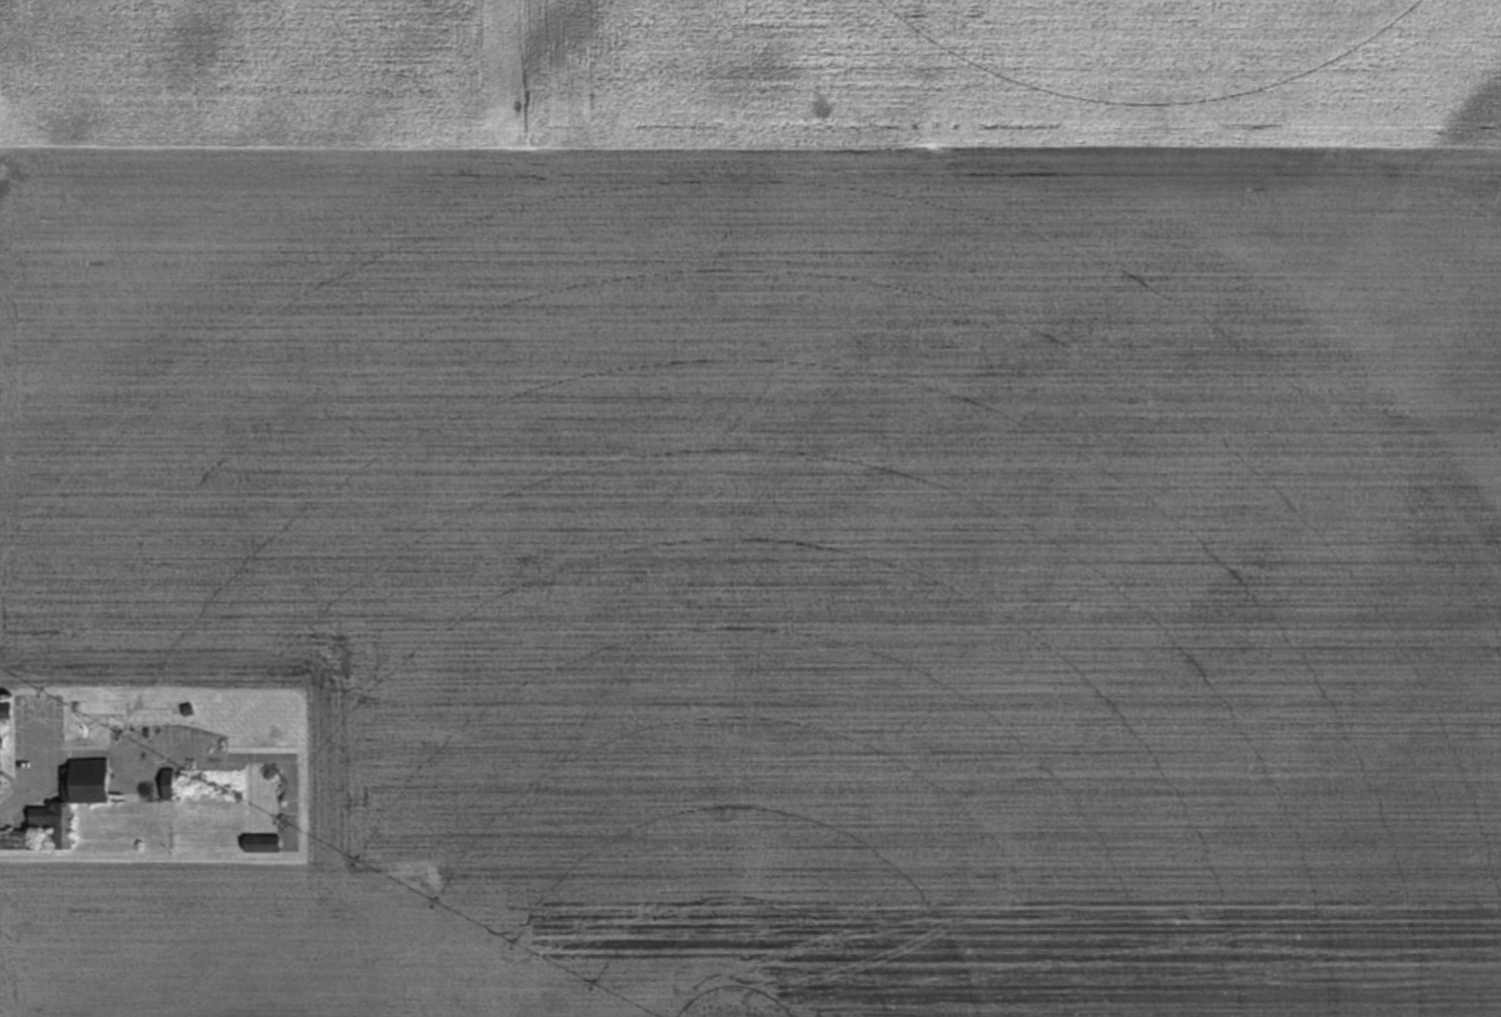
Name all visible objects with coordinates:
building: (5, 711)
road: (206, 753)
road: (41, 769)
building: (167, 784)
building: (62, 808)
building: (261, 843)

